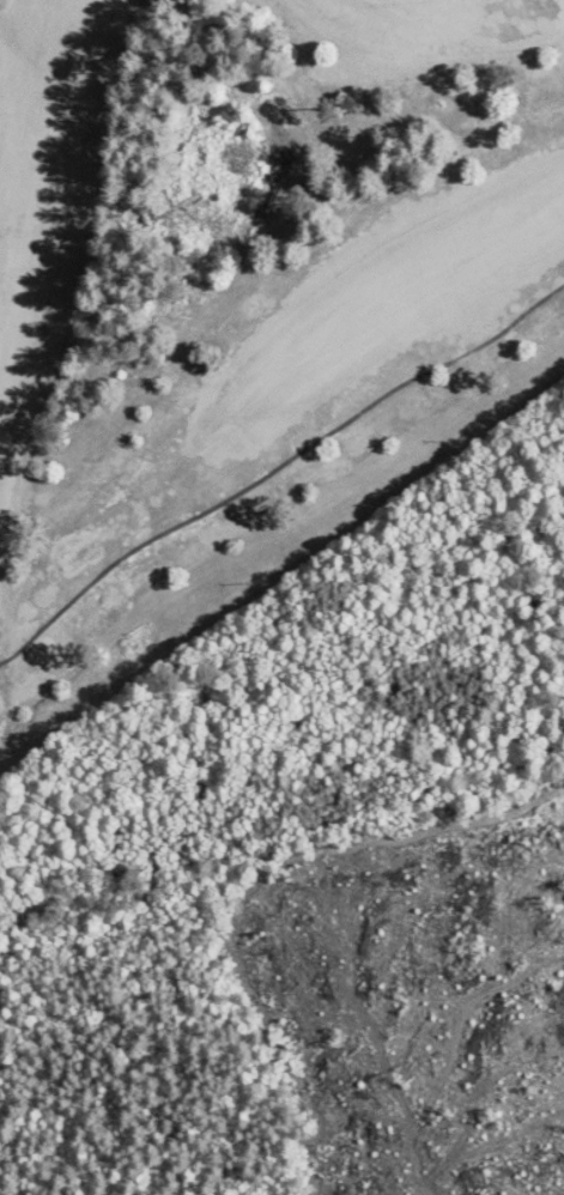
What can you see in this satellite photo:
park: (271, 429)
road: (277, 467)

